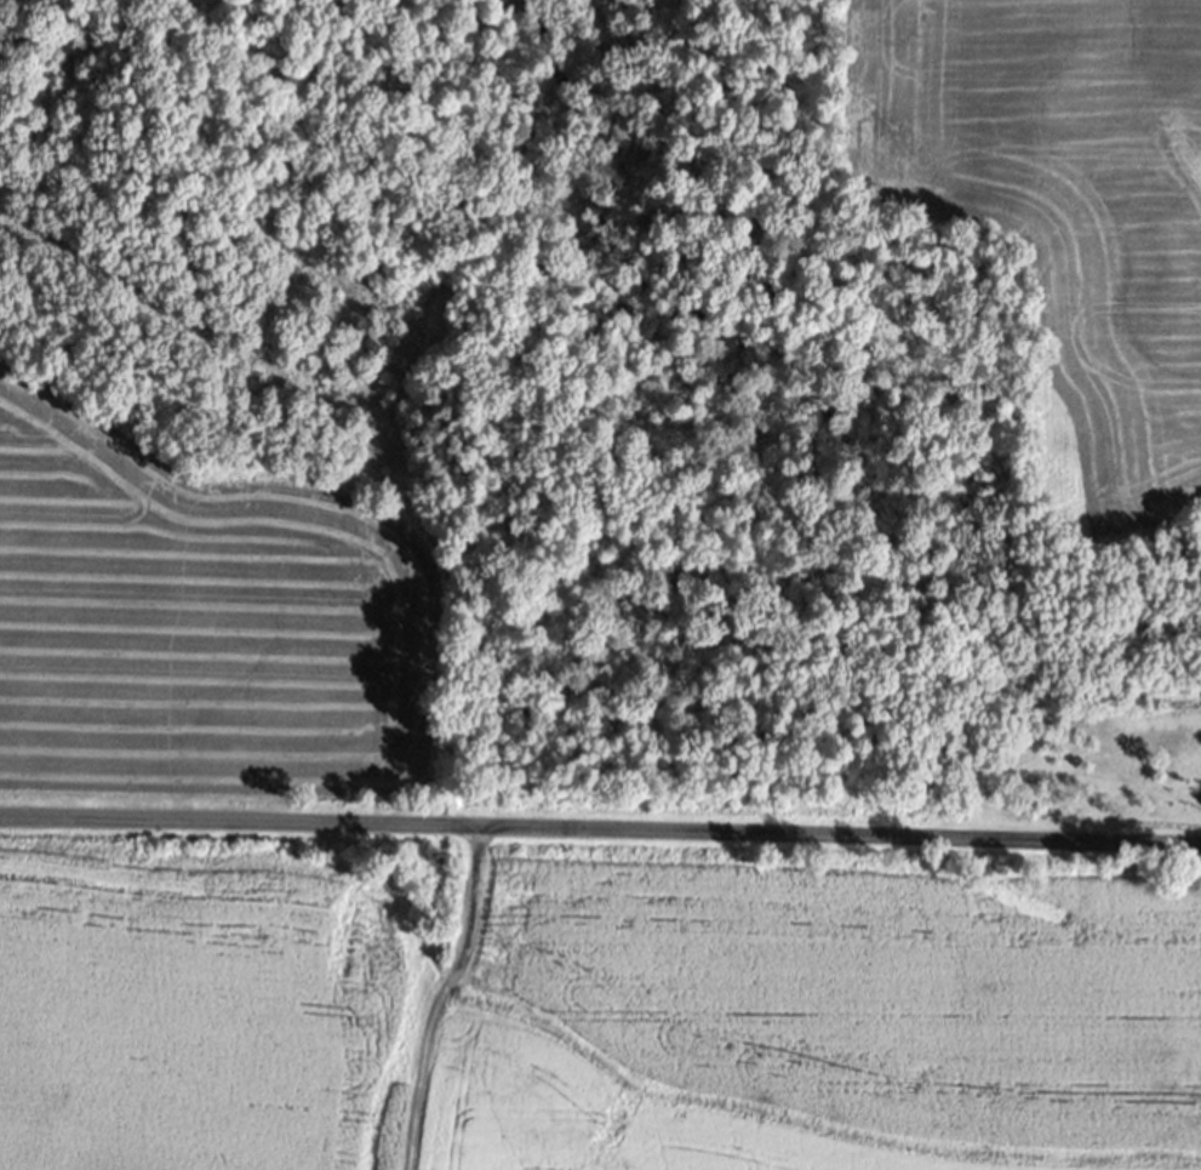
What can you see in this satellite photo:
road: (600, 828)

